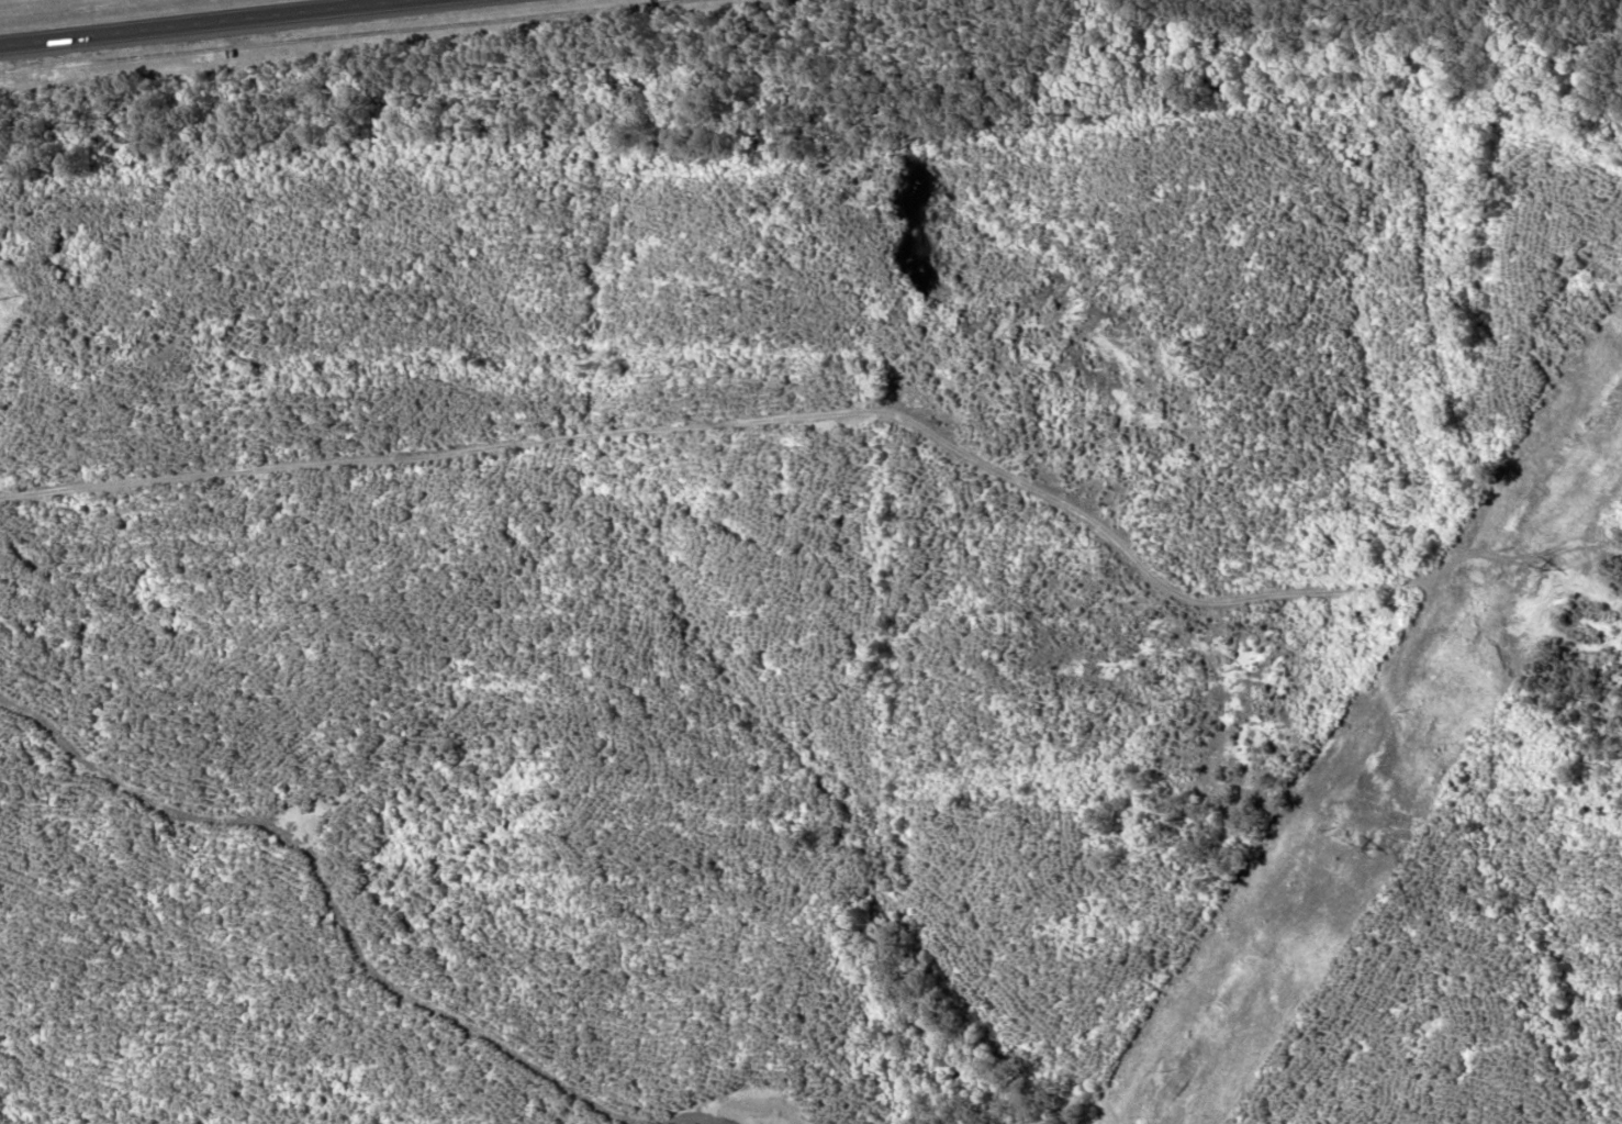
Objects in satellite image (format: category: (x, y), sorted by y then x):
road: (187, 21)
road: (526, 485)
power tower: (1544, 568)
power tower: (1363, 848)

